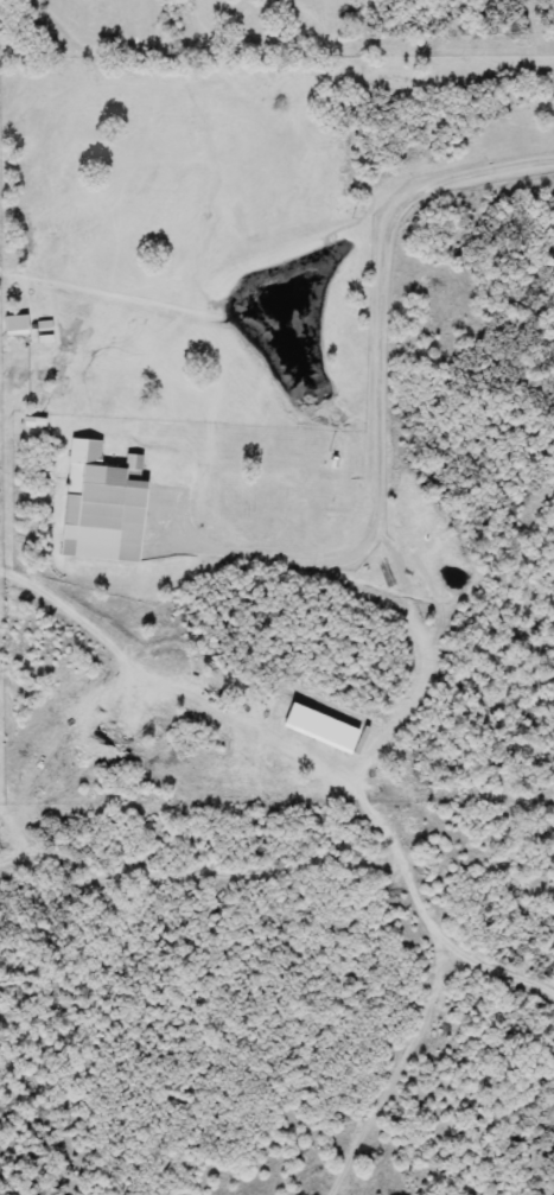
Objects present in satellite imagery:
building: (90, 509)
road: (182, 544)

